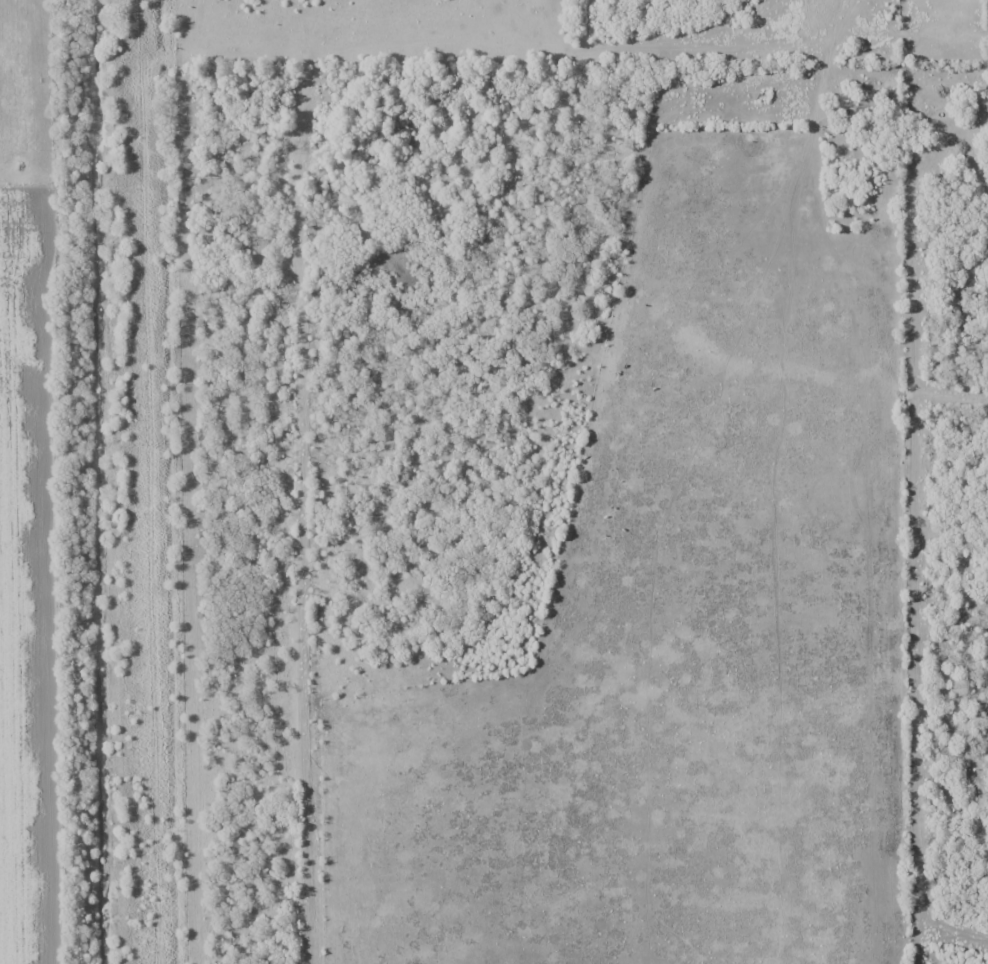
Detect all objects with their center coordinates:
road: (916, 22)
road: (722, 48)
road: (305, 441)

